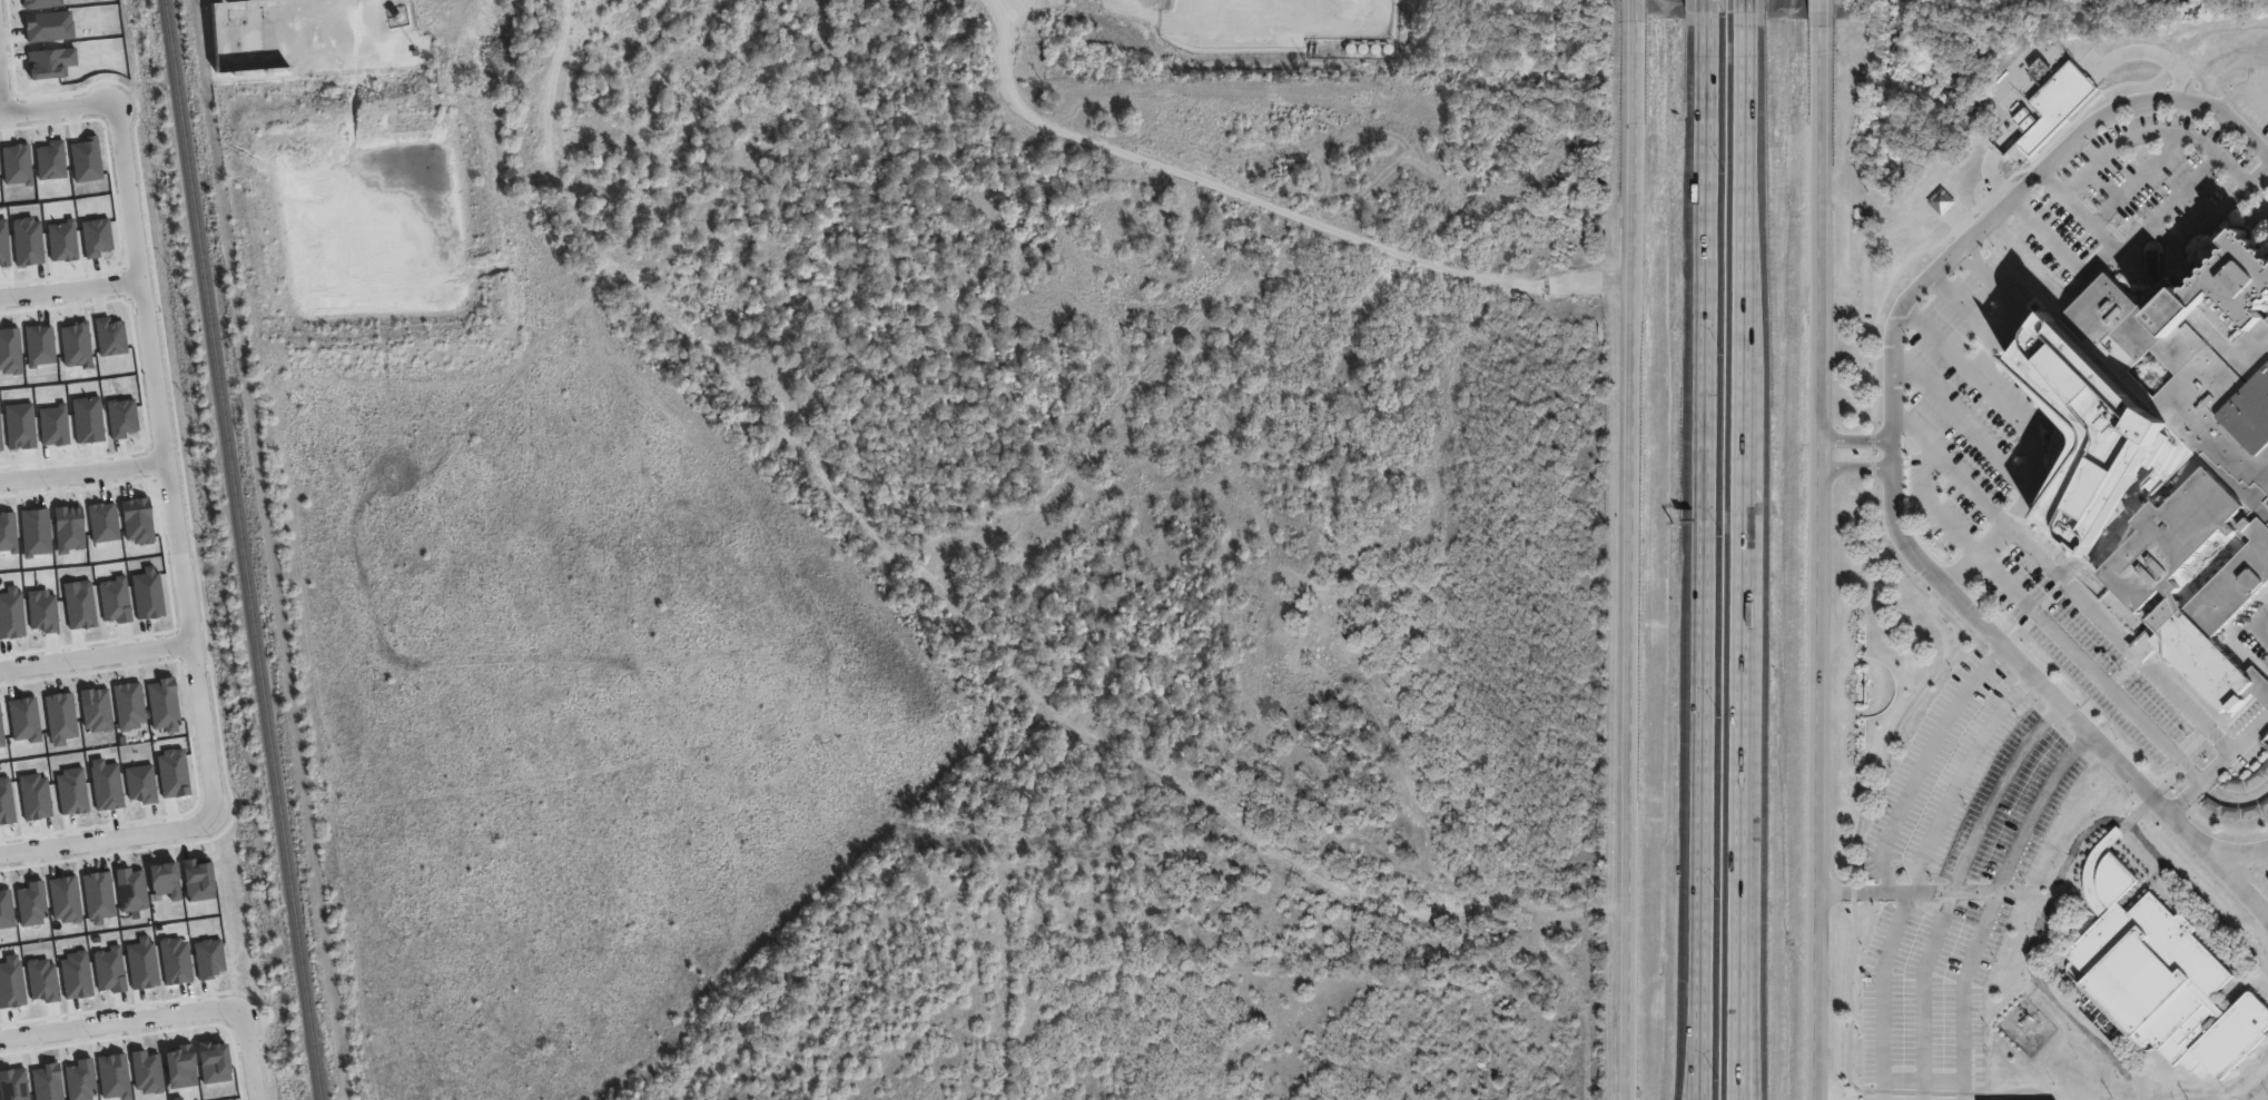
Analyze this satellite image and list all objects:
road: (1637, 1)
road: (1709, 12)
road: (1747, 12)
road: (1822, 13)
road: (1179, 20)
road: (2, 89)
building: (2023, 89)
road: (2240, 89)
road: (2261, 95)
road: (2158, 130)
road: (2139, 181)
road: (2013, 198)
road: (1271, 202)
road: (130, 209)
road: (2084, 216)
road: (2206, 235)
road: (2120, 250)
road: (2014, 308)
road: (1961, 311)
road: (1963, 409)
road: (159, 417)
road: (1855, 437)
road: (2031, 437)
building: (2175, 446)
road: (1854, 467)
road: (82, 470)
road: (1705, 529)
railway: (244, 549)
road: (1630, 551)
road: (1744, 562)
road: (1817, 563)
road: (1902, 569)
road: (2100, 603)
road: (2050, 613)
road: (2255, 633)
road: (96, 656)
road: (198, 683)
road: (2047, 691)
road: (2251, 724)
road: (1924, 759)
road: (1960, 774)
road: (2235, 785)
road: (107, 840)
road: (2266, 850)
road: (2239, 879)
road: (1995, 884)
road: (1960, 891)
road: (2254, 957)
building: (2165, 980)
road: (1964, 992)
road: (1882, 993)
road: (115, 1020)
road: (1748, 1027)
road: (248, 1051)
road: (1694, 1067)
road: (1699, 1067)
road: (2215, 1091)

